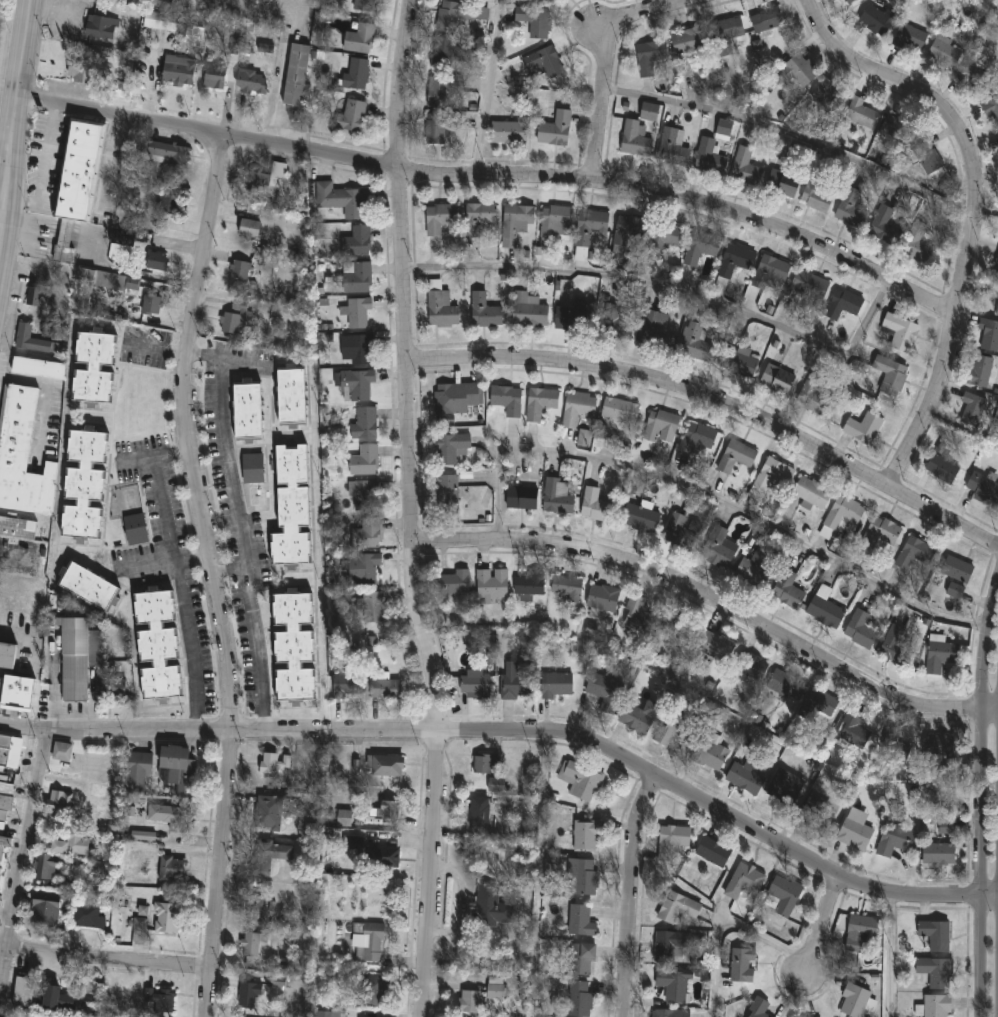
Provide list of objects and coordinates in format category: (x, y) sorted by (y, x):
building: (165, 1)
building: (548, 1)
building: (850, 1)
building: (363, 5)
park: (982, 6)
building: (458, 16)
building: (767, 20)
building: (878, 20)
building: (160, 21)
building: (535, 22)
building: (105, 23)
building: (727, 35)
building: (194, 36)
building: (910, 37)
building: (360, 39)
building: (690, 41)
building: (448, 52)
building: (945, 52)
building: (650, 57)
road: (608, 63)
building: (543, 64)
building: (799, 70)
building: (82, 71)
building: (178, 71)
building: (296, 74)
building: (355, 75)
building: (214, 76)
building: (975, 78)
building: (251, 83)
road: (490, 89)
building: (124, 90)
building: (444, 90)
road: (279, 92)
building: (827, 92)
road: (19, 107)
building: (991, 108)
building: (650, 112)
building: (859, 114)
building: (352, 116)
building: (441, 125)
building: (555, 126)
building: (898, 127)
building: (724, 130)
building: (509, 131)
road: (795, 135)
building: (636, 137)
building: (997, 139)
building: (997, 142)
building: (673, 145)
building: (165, 152)
building: (928, 156)
building: (710, 157)
building: (746, 166)
road: (45, 173)
building: (264, 177)
road: (496, 178)
building: (77, 180)
building: (783, 183)
building: (817, 193)
building: (342, 198)
building: (170, 202)
road: (976, 208)
building: (851, 209)
building: (440, 217)
building: (479, 217)
building: (517, 218)
building: (556, 220)
building: (885, 225)
building: (249, 227)
building: (590, 230)
building: (628, 234)
building: (123, 237)
building: (666, 237)
building: (357, 241)
building: (918, 242)
building: (701, 246)
building: (157, 260)
building: (734, 262)
building: (240, 269)
building: (996, 269)
building: (770, 270)
building: (359, 277)
building: (809, 285)
road: (673, 289)
building: (992, 289)
building: (82, 290)
building: (34, 298)
building: (845, 303)
building: (151, 304)
building: (441, 305)
building: (530, 310)
building: (358, 311)
building: (485, 311)
building: (997, 312)
building: (235, 317)
building: (572, 318)
building: (617, 323)
building: (655, 331)
building: (901, 331)
building: (989, 334)
building: (33, 338)
building: (697, 338)
road: (157, 348)
building: (359, 348)
building: (738, 359)
building: (38, 367)
building: (94, 367)
building: (981, 371)
building: (891, 374)
building: (778, 378)
building: (355, 383)
building: (292, 395)
building: (814, 395)
building: (449, 397)
road: (46, 399)
building: (508, 399)
building: (138, 403)
building: (541, 403)
road: (717, 404)
building: (578, 408)
building: (974, 408)
building: (248, 409)
building: (620, 411)
building: (365, 423)
building: (864, 426)
building: (659, 429)
park: (993, 434)
building: (697, 437)
building: (583, 438)
building: (452, 446)
building: (22, 454)
building: (737, 455)
building: (364, 460)
building: (944, 467)
building: (253, 468)
building: (772, 477)
building: (84, 483)
building: (984, 487)
building: (447, 492)
building: (813, 492)
building: (363, 494)
building: (557, 496)
road: (713, 496)
building: (523, 497)
building: (597, 505)
building: (292, 507)
road: (413, 509)
building: (841, 515)
building: (641, 517)
building: (17, 527)
road: (238, 528)
building: (137, 529)
building: (682, 532)
building: (882, 532)
building: (367, 533)
building: (721, 548)
building: (916, 553)
road: (193, 559)
road: (16, 560)
building: (754, 564)
road: (152, 566)
building: (358, 566)
road: (230, 569)
building: (959, 569)
road: (177, 574)
road: (215, 576)
building: (455, 583)
building: (530, 585)
building: (88, 586)
building: (493, 586)
building: (568, 587)
building: (789, 590)
building: (955, 590)
building: (602, 599)
road: (715, 599)
building: (371, 606)
building: (825, 611)
building: (638, 616)
building: (678, 625)
building: (591, 628)
building: (860, 629)
road: (13, 630)
building: (157, 644)
building: (713, 644)
building: (896, 646)
building: (294, 647)
building: (940, 654)
building: (6, 656)
building: (79, 656)
building: (751, 665)
building: (515, 682)
building: (347, 685)
building: (476, 685)
building: (556, 685)
building: (786, 685)
building: (385, 687)
building: (110, 688)
building: (605, 692)
building: (16, 693)
building: (817, 706)
building: (640, 716)
building: (756, 718)
building: (854, 730)
building: (674, 731)
road: (517, 735)
building: (938, 745)
building: (892, 746)
building: (710, 751)
building: (8, 752)
building: (62, 752)
building: (487, 763)
building: (274, 764)
building: (386, 765)
building: (136, 771)
building: (176, 772)
building: (746, 776)
building: (581, 779)
building: (495, 785)
building: (785, 787)
building: (98, 791)
building: (6, 796)
road: (982, 797)
building: (58, 804)
building: (386, 810)
building: (268, 812)
building: (479, 812)
building: (170, 816)
building: (344, 818)
building: (817, 818)
building: (946, 827)
building: (312, 830)
building: (855, 833)
building: (587, 835)
building: (143, 836)
road: (29, 839)
building: (896, 839)
building: (673, 840)
building: (69, 843)
building: (714, 851)
building: (372, 853)
building: (940, 854)
building: (3, 857)
building: (267, 857)
building: (46, 867)
building: (171, 868)
building: (581, 877)
building: (744, 881)
road: (628, 896)
building: (784, 896)
building: (492, 908)
building: (677, 908)
building: (256, 909)
building: (143, 910)
road: (7, 912)
building: (44, 913)
building: (87, 915)
building: (166, 916)
building: (579, 921)
road: (721, 922)
road: (821, 923)
building: (863, 926)
building: (138, 929)
building: (935, 934)
building: (368, 943)
road: (4, 944)
building: (251, 944)
building: (671, 945)
road: (891, 955)
road: (109, 957)
building: (581, 957)
building: (743, 965)
road: (4, 966)
building: (937, 971)
building: (278, 981)
building: (674, 984)
building: (496, 988)
building: (88, 989)
building: (23, 992)
building: (372, 992)
building: (248, 994)
building: (57, 1000)
building: (580, 1000)
building: (160, 1001)
building: (858, 1001)
building: (471, 1002)
building: (935, 1006)
building: (759, 1008)
building: (331, 1013)
building: (670, 1013)
building: (796, 1016)

